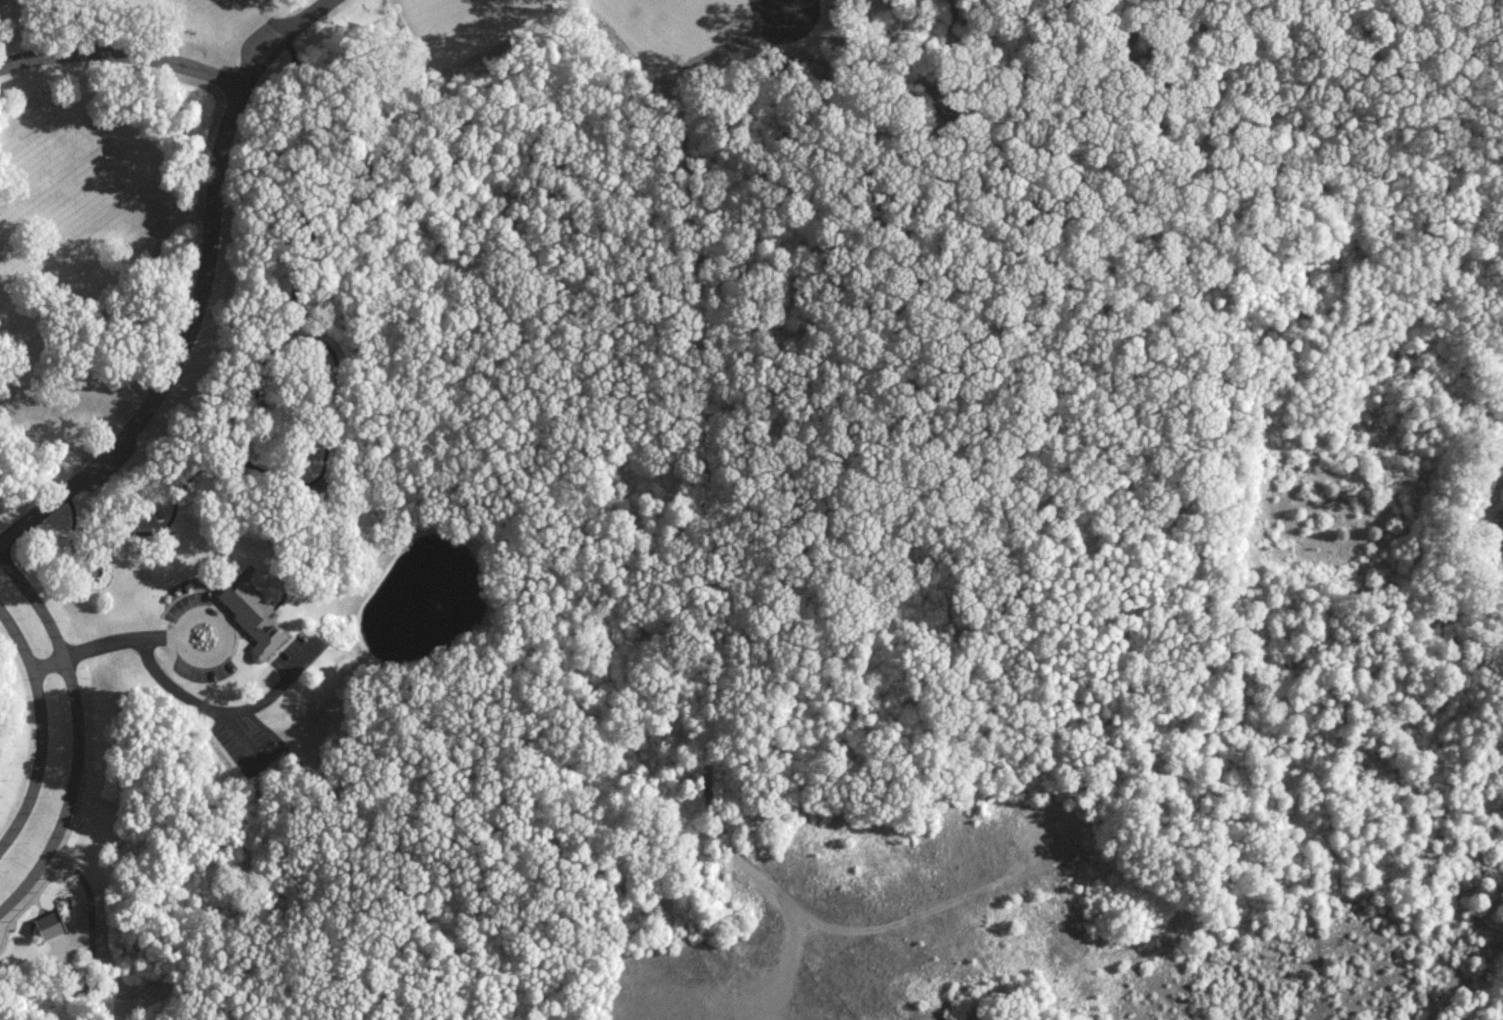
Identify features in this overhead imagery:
road: (778, 2)
road: (297, 16)
road: (122, 58)
road: (191, 318)
road: (331, 360)
park: (309, 395)
road: (141, 531)
road: (270, 540)
building: (252, 619)
road: (224, 633)
road: (103, 648)
road: (222, 710)
road: (41, 734)
road: (236, 735)
road: (80, 739)
road: (376, 851)
road: (90, 912)
building: (47, 923)

